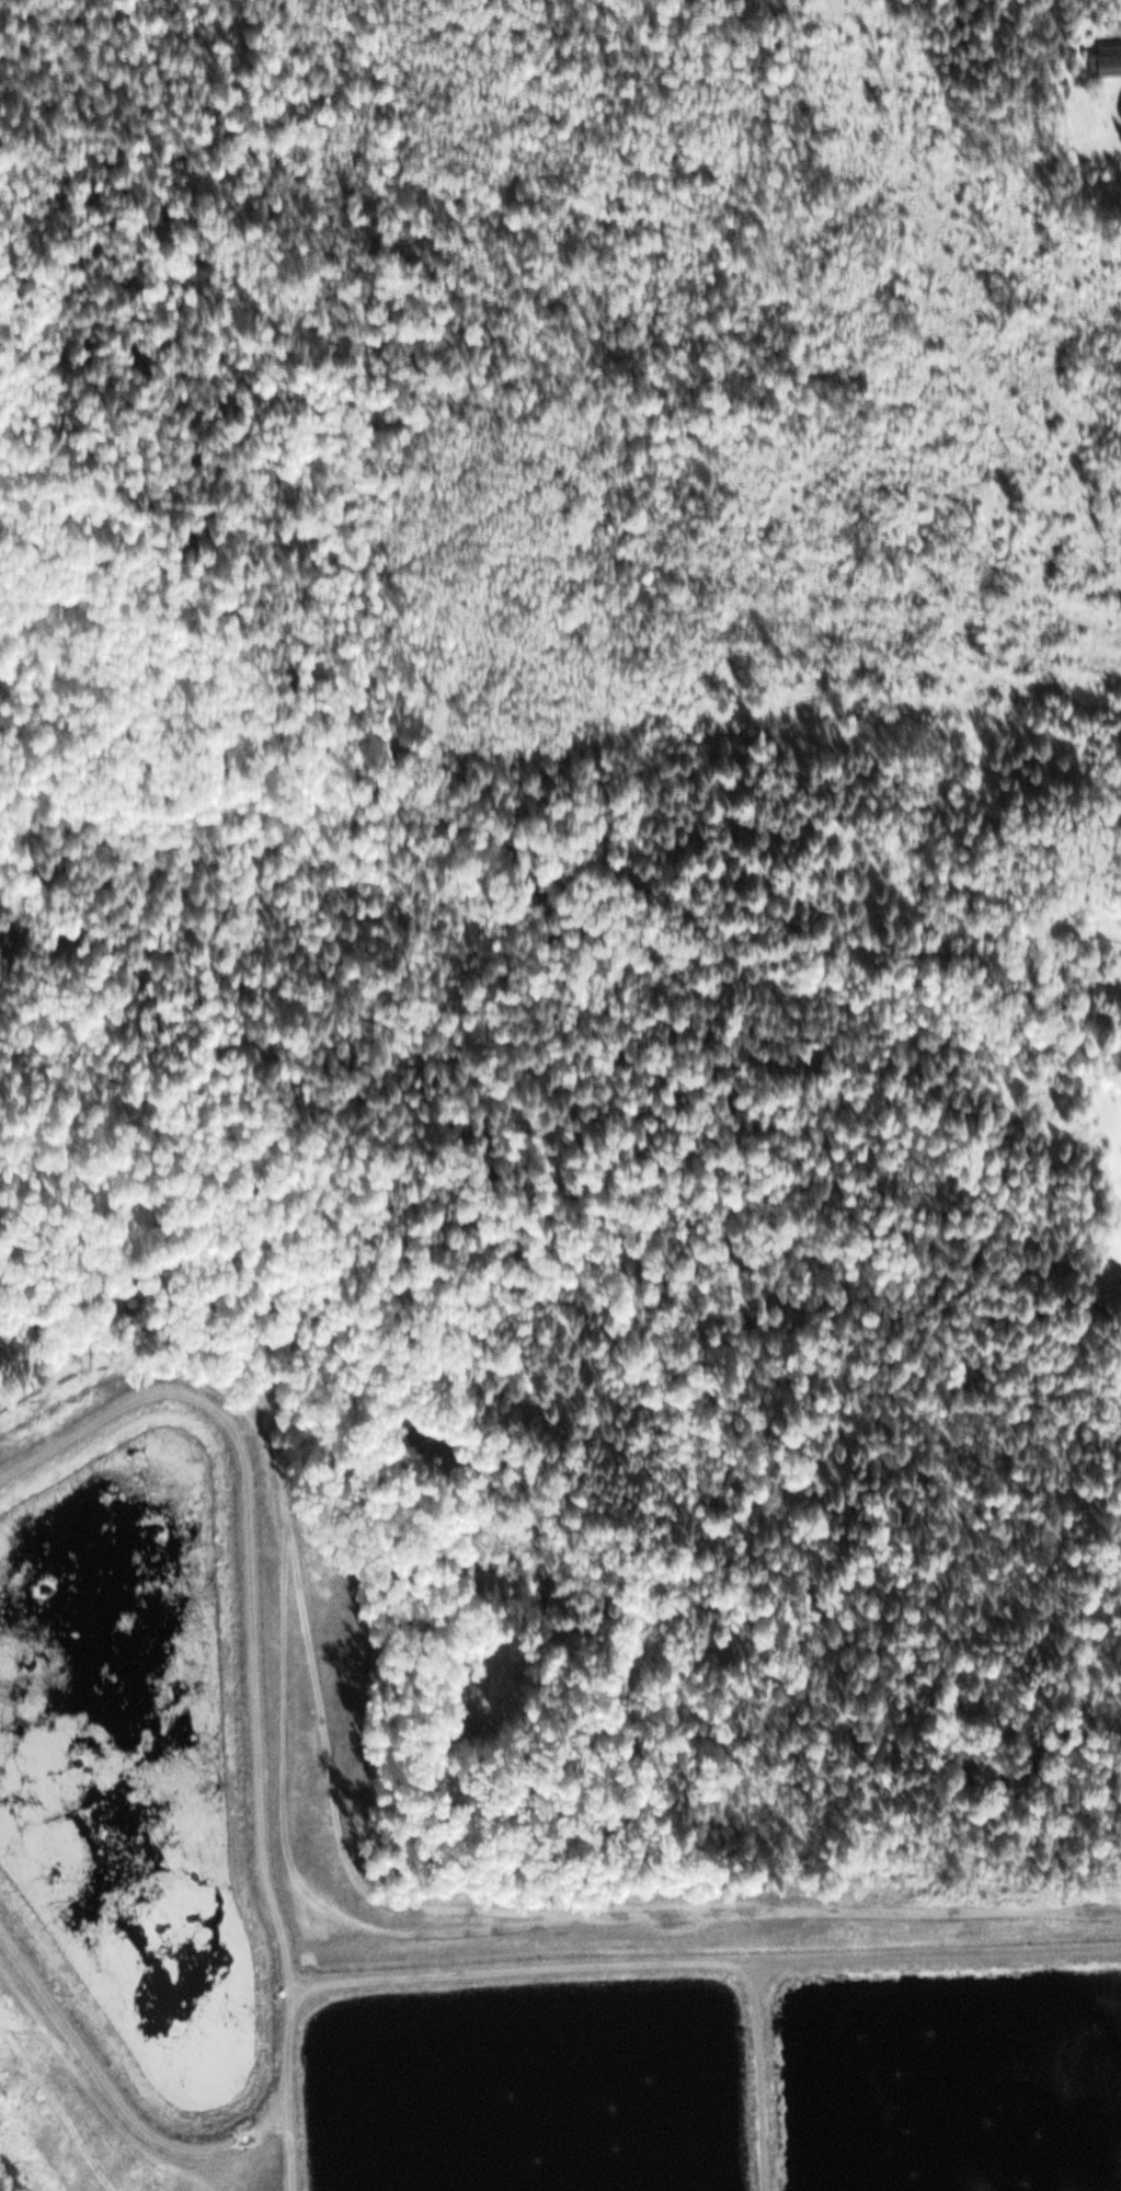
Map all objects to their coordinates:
building: (1120, 44)
building: (1107, 57)
wastewater plant: (441, 1911)

